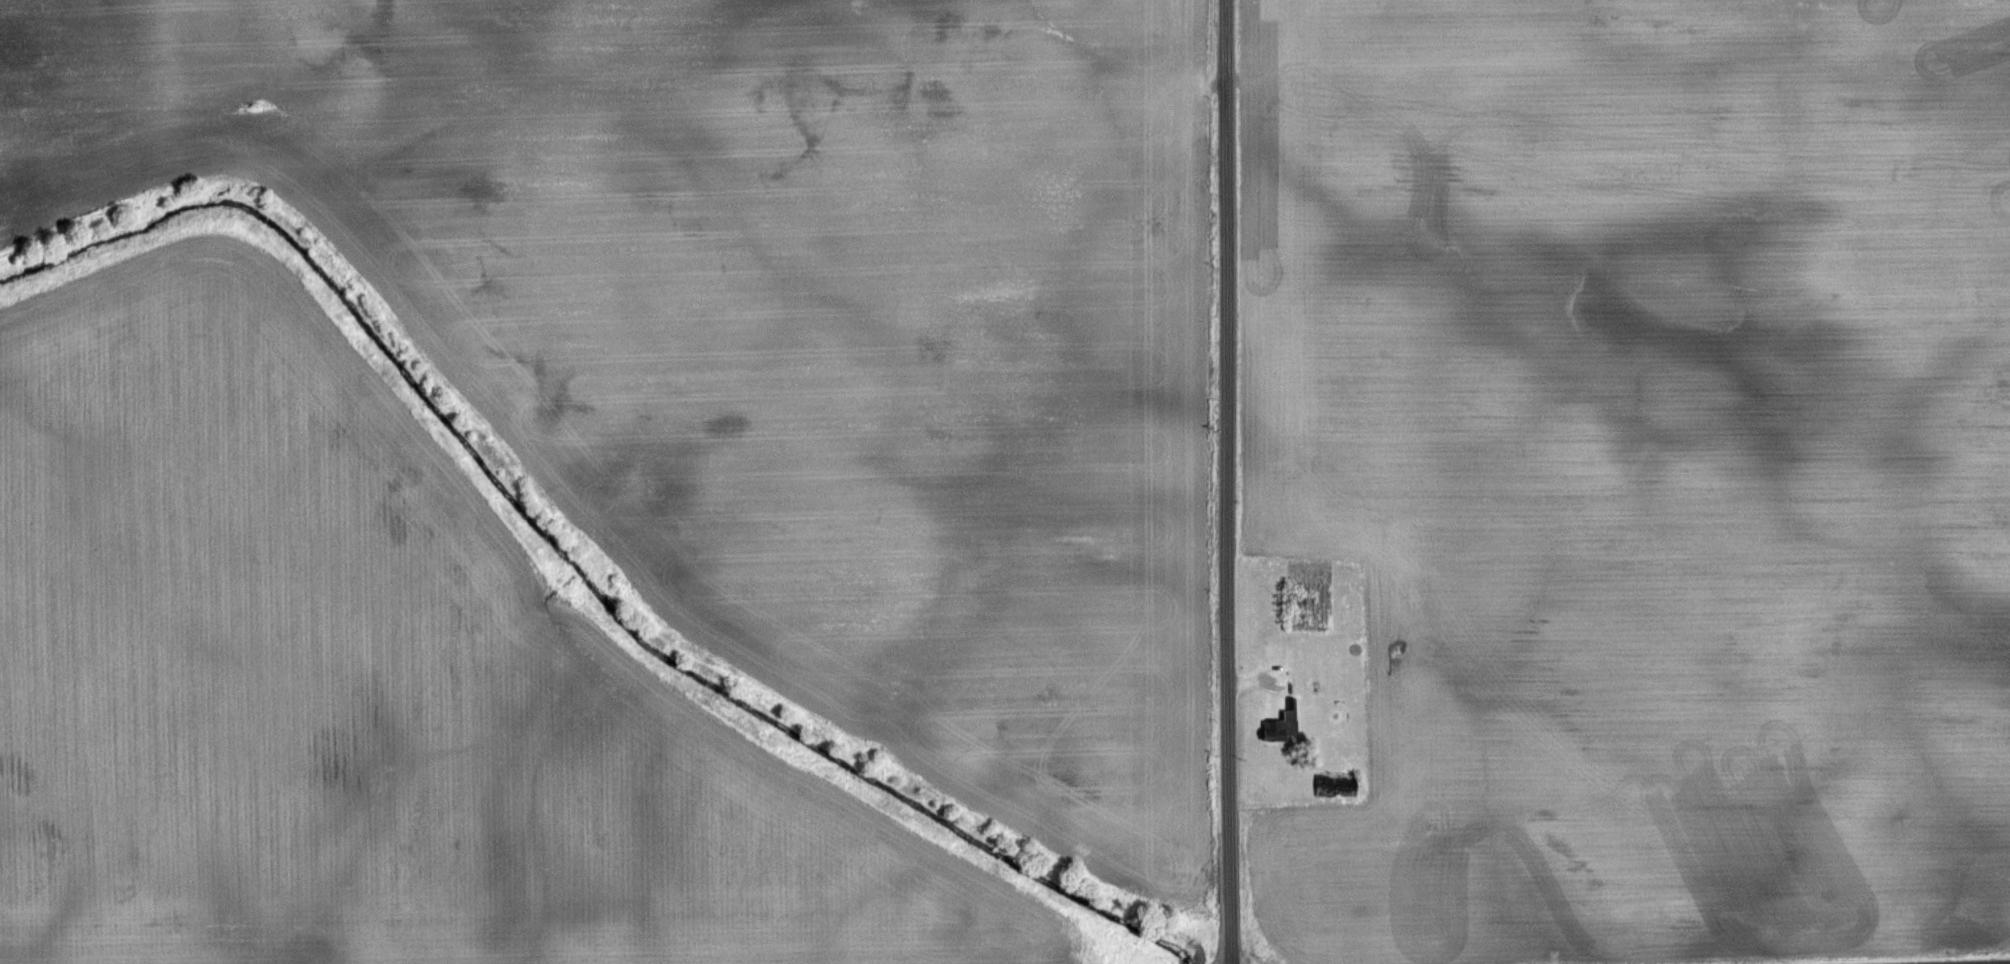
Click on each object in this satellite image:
road: (1227, 482)
building: (1285, 728)

